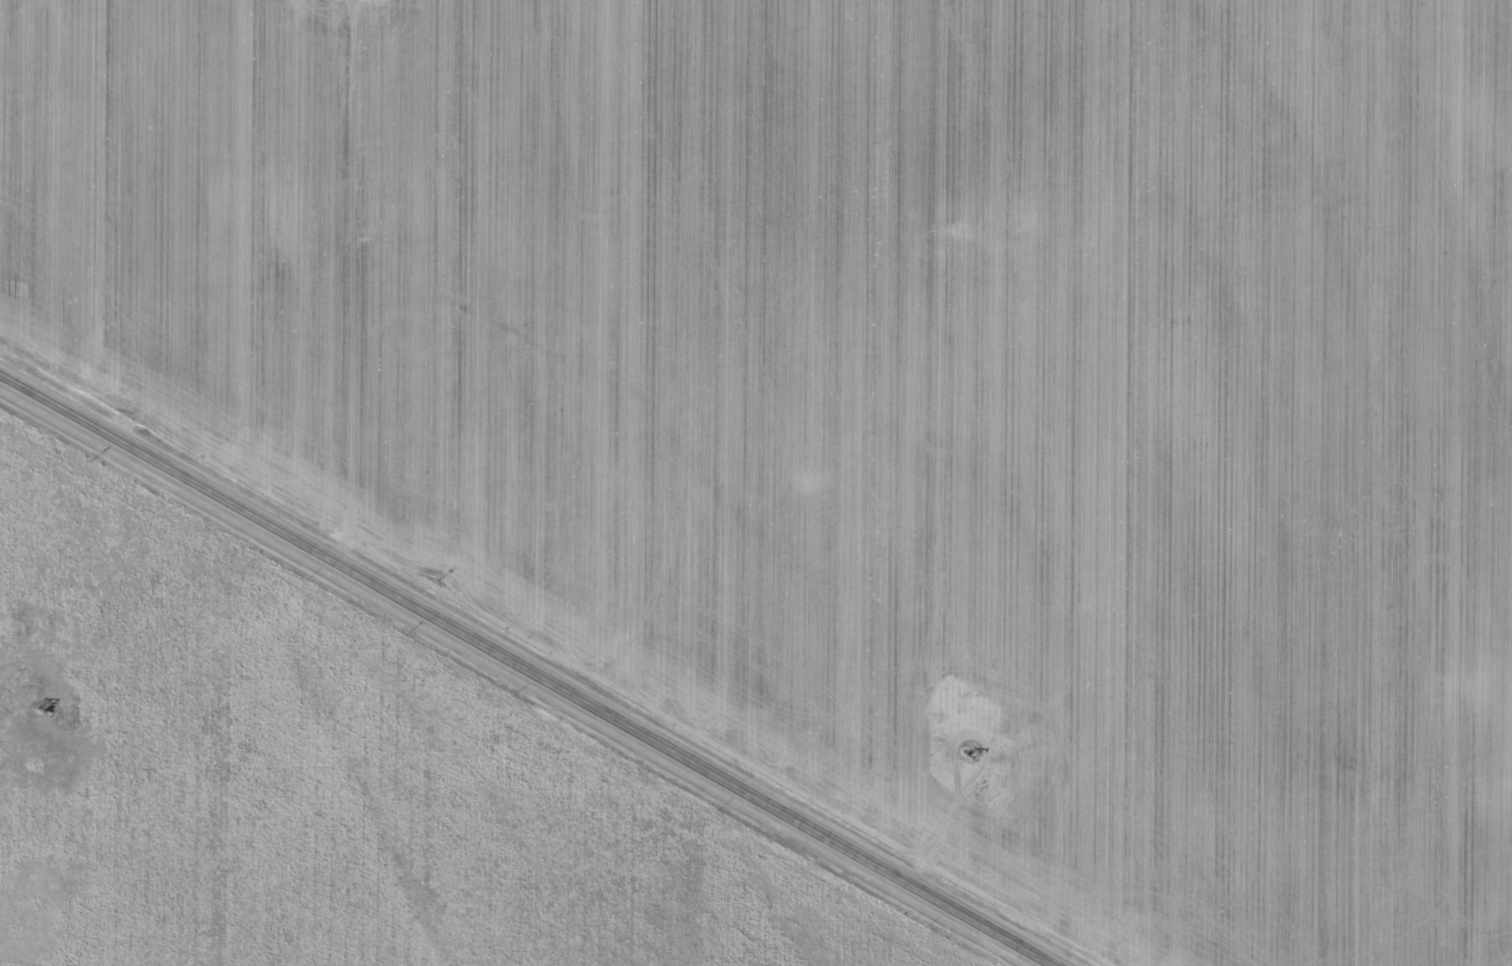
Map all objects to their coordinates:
road: (530, 668)

